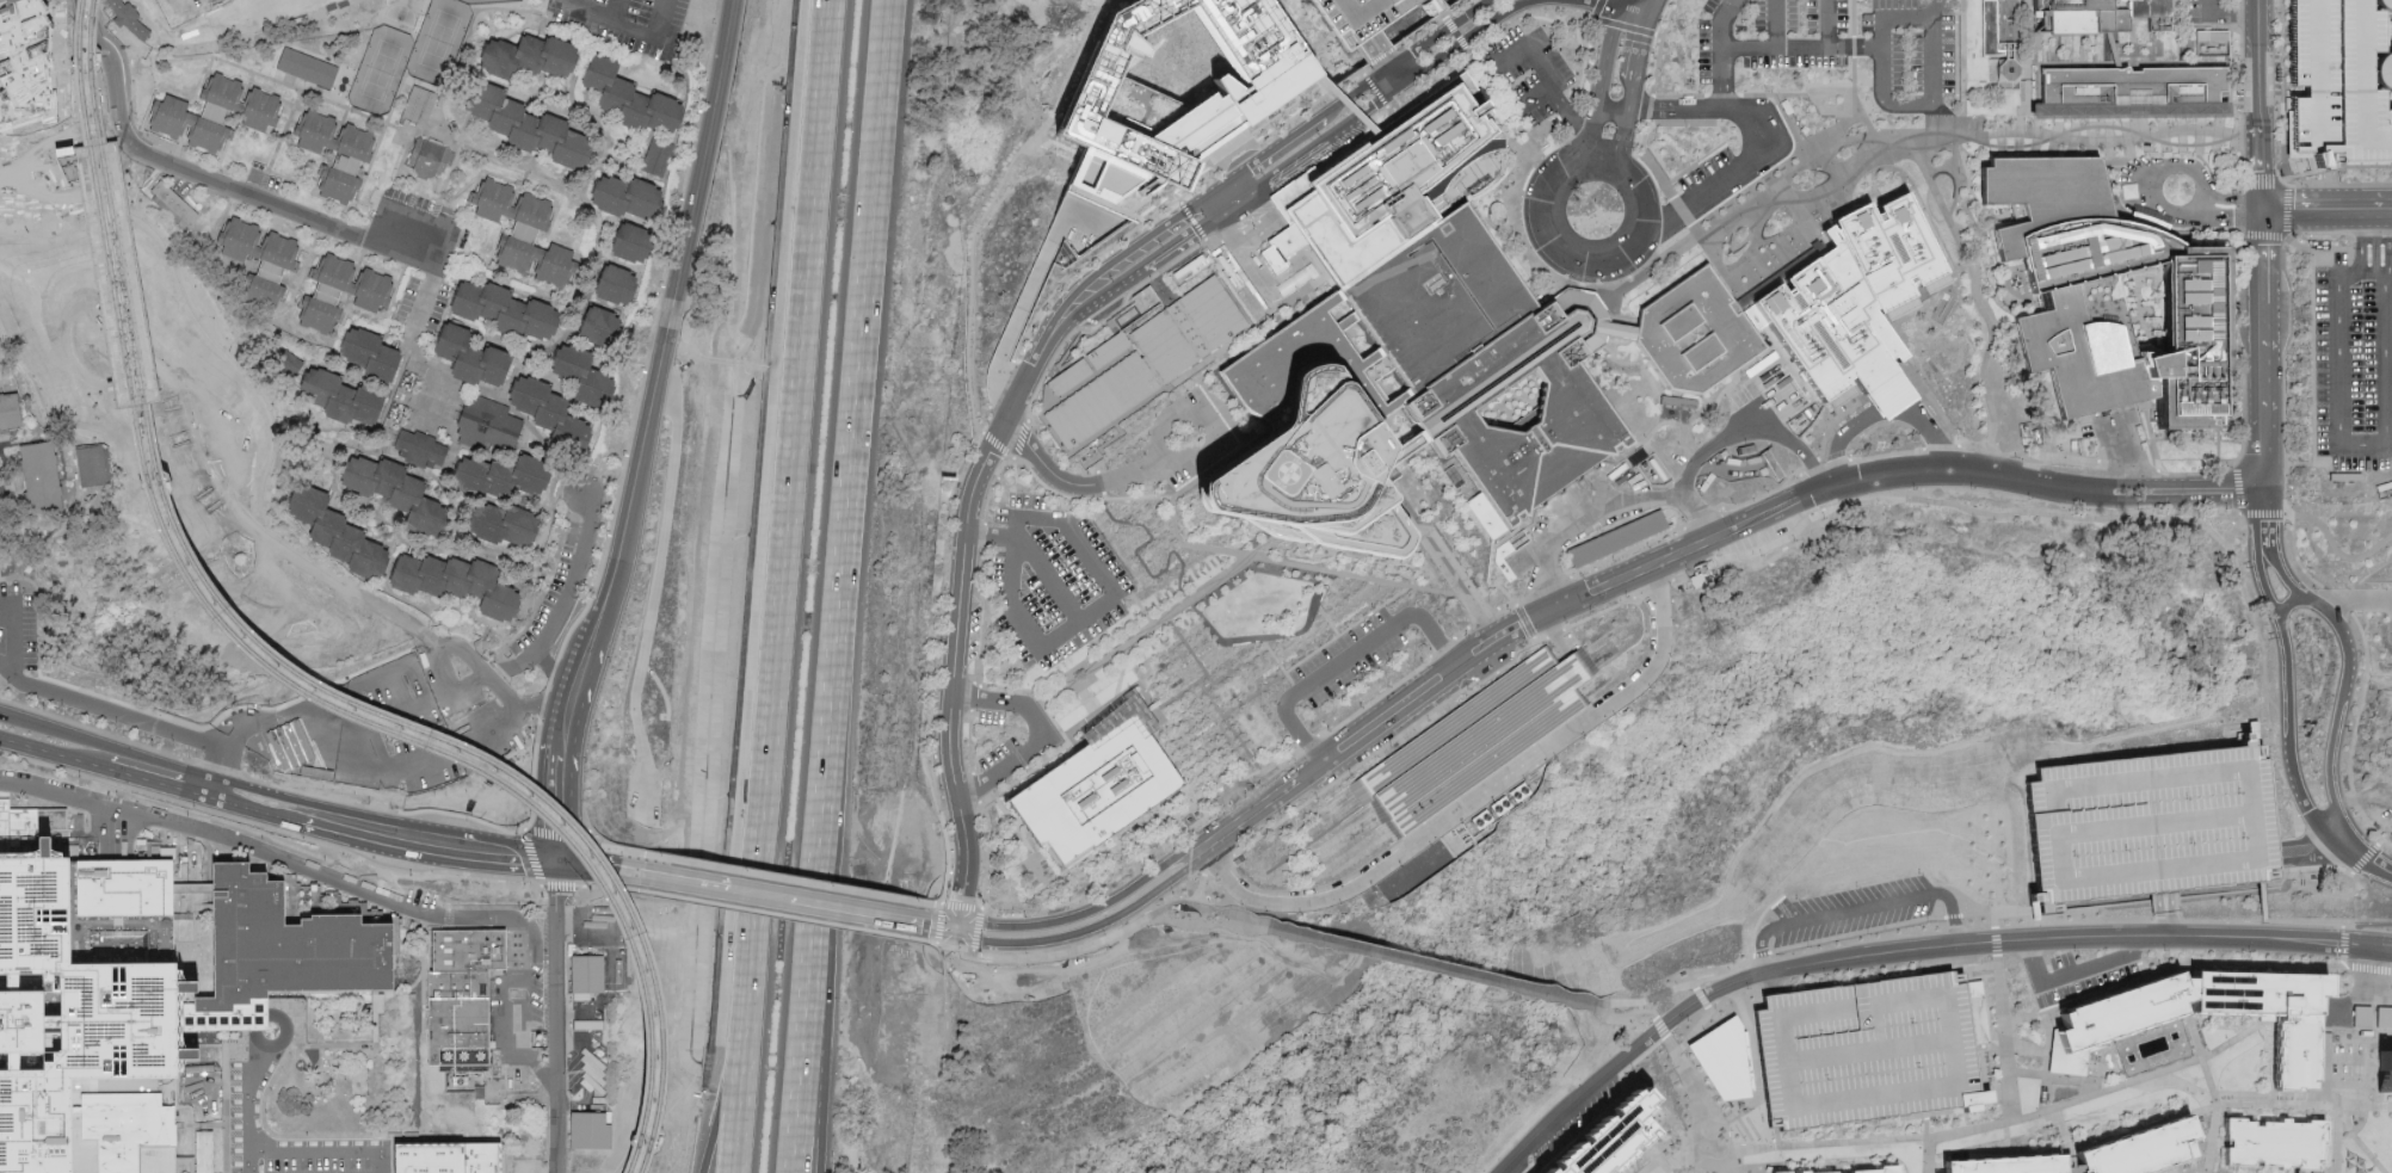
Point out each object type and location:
road: (1648, 1)
road: (1614, 8)
road: (1935, 8)
road: (1651, 10)
parking lot: (2208, 11)
road: (616, 12)
road: (2230, 12)
park: (245, 13)
road: (1443, 14)
building: (2095, 14)
building: (1361, 16)
parking lot: (1361, 16)
road: (1527, 17)
building: (129, 18)
road: (1291, 18)
parking lot: (627, 21)
road: (1721, 21)
road: (1775, 21)
road: (1827, 21)
road: (1620, 23)
road: (2026, 24)
road: (104, 26)
road: (628, 29)
road: (1456, 32)
road: (462, 38)
building: (2003, 38)
building: (2209, 41)
parking lot: (1835, 43)
road: (1770, 44)
building: (532, 51)
road: (1635, 53)
road: (2026, 53)
road: (156, 54)
road: (1363, 54)
road: (1411, 54)
road: (2258, 54)
park: (409, 55)
road: (1392, 55)
road: (1383, 62)
building: (24, 63)
road: (80, 64)
road: (240, 64)
building: (307, 66)
building: (82, 70)
road: (1357, 70)
parking lot: (1528, 70)
building: (184, 73)
road: (1601, 76)
road: (1548, 78)
road: (115, 81)
building: (2341, 84)
parking lot: (2341, 84)
building: (2135, 86)
road: (134, 88)
road: (302, 88)
road: (1382, 88)
road: (545, 89)
road: (1576, 89)
road: (1776, 92)
building: (631, 94)
road: (1539, 94)
road: (2027, 95)
road: (1931, 99)
road: (1346, 101)
building: (418, 103)
building: (1229, 103)
road: (1611, 104)
road: (1373, 105)
road: (1673, 106)
building: (215, 112)
road: (1960, 112)
road: (585, 113)
road: (1943, 117)
road: (140, 118)
road: (127, 121)
road: (127, 123)
road: (1646, 123)
building: (526, 124)
road: (1625, 124)
road: (1790, 125)
road: (2240, 132)
road: (57, 135)
road: (1907, 136)
road: (1286, 142)
road: (2282, 142)
road: (178, 143)
road: (1061, 143)
road: (66, 146)
road: (1259, 146)
road: (60, 147)
road: (26, 149)
road: (121, 152)
building: (656, 155)
building: (353, 156)
building: (66, 158)
road: (2258, 158)
building: (430, 159)
road: (616, 159)
road: (62, 161)
road: (69, 161)
building: (103, 161)
road: (505, 163)
road: (72, 165)
road: (119, 166)
road: (134, 166)
parking lot: (1704, 166)
building: (1457, 167)
road: (1521, 167)
road: (1738, 167)
road: (450, 174)
road: (68, 178)
road: (8, 179)
building: (1386, 180)
road: (510, 183)
road: (2145, 183)
road: (1820, 186)
road: (809, 191)
road: (251, 195)
building: (627, 196)
road: (993, 197)
road: (147, 198)
building: (172, 203)
road: (42, 204)
road: (2390, 204)
road: (2324, 205)
road: (2200, 206)
road: (2143, 221)
road: (144, 223)
road: (444, 224)
road: (1233, 224)
road: (1272, 227)
road: (321, 228)
parking lot: (413, 229)
building: (524, 230)
road: (1158, 231)
road: (2287, 231)
road: (1258, 236)
road: (1293, 237)
building: (1288, 240)
road: (2359, 240)
road: (2388, 240)
building: (627, 242)
road: (1284, 243)
road: (1566, 254)
road: (1154, 258)
building: (277, 265)
road: (503, 272)
road: (301, 280)
building: (612, 282)
road: (1271, 284)
building: (369, 292)
building: (2110, 296)
road: (1025, 297)
building: (1852, 297)
road: (1973, 300)
road: (417, 303)
building: (505, 309)
road: (82, 313)
road: (622, 314)
building: (593, 323)
road: (1621, 331)
building: (1694, 332)
road: (7, 337)
road: (212, 339)
road: (2262, 347)
building: (1108, 348)
building: (371, 351)
building: (471, 356)
building: (1151, 359)
building: (1488, 360)
parking lot: (2353, 364)
road: (660, 366)
road: (177, 373)
road: (105, 375)
building: (579, 375)
building: (1069, 376)
railway: (150, 385)
road: (124, 387)
railway: (123, 390)
road: (92, 401)
road: (504, 401)
building: (337, 402)
road: (1762, 402)
road: (1932, 403)
road: (184, 406)
road: (1881, 408)
building: (10, 409)
road: (47, 410)
building: (545, 410)
road: (1701, 413)
road: (2338, 418)
building: (483, 422)
road: (1827, 427)
building: (1318, 434)
road: (1647, 434)
road: (1018, 438)
road: (1721, 438)
road: (994, 443)
building: (418, 447)
building: (90, 465)
road: (1163, 465)
helipad: (1270, 470)
road: (1, 475)
building: (41, 476)
building: (503, 477)
road: (846, 477)
road: (2125, 482)
road: (337, 483)
road: (2220, 490)
building: (399, 494)
road: (950, 495)
road: (1166, 495)
road: (73, 496)
road: (2125, 499)
road: (1786, 501)
road: (1948, 501)
road: (2285, 510)
road: (2238, 512)
road: (2264, 514)
road: (1408, 517)
building: (1488, 521)
road: (1521, 521)
road: (1577, 521)
road: (560, 524)
road: (1524, 524)
building: (506, 526)
road: (1505, 532)
building: (340, 533)
road: (990, 533)
road: (1493, 537)
building: (1615, 537)
road: (1499, 538)
road: (406, 544)
road: (1083, 544)
road: (275, 548)
road: (418, 549)
road: (2335, 552)
road: (1139, 556)
road: (1299, 563)
road: (29, 578)
parking lot: (1052, 579)
building: (456, 582)
road: (1462, 585)
parking lot: (551, 586)
road: (1653, 586)
road: (1504, 589)
road: (2243, 592)
road: (654, 594)
road: (2347, 594)
road: (960, 595)
road: (1393, 595)
road: (537, 601)
road: (1138, 601)
road: (563, 604)
road: (2289, 606)
road: (1326, 616)
road: (1527, 621)
parking lot: (17, 625)
road: (1146, 628)
park: (1220, 630)
road: (1554, 632)
road: (11, 634)
road: (1054, 636)
road: (1268, 636)
road: (1092, 641)
road: (1188, 648)
road: (1253, 653)
parking lot: (1346, 655)
railway: (285, 658)
road: (1345, 658)
road: (1426, 658)
railway: (271, 660)
road: (2, 661)
road: (771, 662)
road: (1576, 662)
road: (1278, 663)
road: (499, 666)
road: (1074, 668)
road: (2347, 672)
road: (1222, 673)
road: (550, 675)
road: (123, 680)
road: (1118, 681)
road: (1263, 686)
road: (2286, 692)
road: (1172, 697)
road: (1240, 702)
road: (505, 704)
road: (1092, 705)
road: (302, 709)
road: (1229, 709)
road: (2264, 710)
road: (4, 711)
road: (1429, 712)
parking lot: (991, 715)
road: (130, 716)
road: (1155, 716)
road: (216, 720)
road: (1229, 726)
road: (1179, 731)
road: (1040, 733)
road: (1361, 734)
road: (1064, 735)
road: (560, 736)
building: (1472, 736)
road: (111, 745)
road: (1204, 747)
road: (316, 749)
parking lot: (999, 752)
road: (50, 753)
road: (153, 783)
building: (1092, 788)
parking lot: (645, 797)
road: (1474, 797)
road: (246, 798)
road: (553, 801)
building: (2147, 823)
parking lot: (2147, 823)
road: (358, 825)
road: (269, 829)
road: (1112, 841)
road: (529, 842)
road: (612, 846)
road: (492, 848)
road: (2308, 852)
road: (2361, 857)
traffic signals: (551, 858)
road: (2366, 859)
road: (1217, 863)
road: (590, 864)
road: (2308, 871)
road: (773, 872)
road: (551, 881)
road: (345, 883)
road: (702, 883)
road: (604, 887)
road: (1195, 897)
road: (2260, 897)
road: (962, 903)
road: (1206, 907)
road: (841, 908)
road: (2166, 909)
road: (1086, 910)
road: (766, 913)
parking lot: (1850, 913)
road: (1860, 913)
road: (1998, 913)
road: (1953, 916)
road: (2302, 919)
road: (1992, 921)
road: (2369, 921)
road: (932, 922)
road: (1206, 922)
road: (1090, 926)
traffic signals: (954, 927)
road: (2169, 932)
road: (1857, 936)
road: (2206, 938)
road: (939, 942)
road: (1993, 942)
road: (2347, 942)
road: (1989, 943)
building: (278, 951)
road: (1047, 953)
road: (1750, 955)
road: (1764, 963)
road: (2368, 963)
road: (1441, 964)
road: (1751, 965)
road: (1438, 970)
road: (2186, 971)
building: (587, 973)
parking lot: (2079, 973)
road: (2144, 975)
road: (1799, 977)
road: (2074, 980)
parking lot: (518, 982)
road: (1695, 988)
road: (1683, 990)
road: (2186, 993)
road: (1659, 998)
road: (1701, 999)
building: (375, 1001)
road: (1697, 1002)
road: (1632, 1004)
building: (463, 1005)
road: (2024, 1013)
road: (2336, 1014)
building: (2361, 1014)
building: (2384, 1014)
building: (86, 1017)
road: (1634, 1017)
building: (2106, 1027)
road: (1659, 1029)
road: (2003, 1036)
road: (556, 1038)
road: (2361, 1038)
road: (1746, 1041)
road: (2027, 1045)
building: (1868, 1050)
parking lot: (1868, 1050)
road: (2176, 1050)
parking lot: (2350, 1055)
road: (726, 1057)
road: (738, 1057)
road: (796, 1064)
road: (809, 1064)
building: (2385, 1066)
building: (1722, 1069)
road: (2024, 1070)
road: (2158, 1070)
road: (1702, 1073)
road: (2115, 1073)
road: (2143, 1074)
road: (2328, 1080)
road: (2360, 1080)
road: (2183, 1082)
road: (2212, 1087)
road: (1694, 1088)
fountain: (2054, 1089)
road: (1736, 1112)
road: (2180, 1112)
parking lot: (245, 1113)
road: (1924, 1113)
road: (1737, 1116)
parking lot: (1580, 1123)
road: (1924, 1124)
road: (2059, 1128)
building: (591, 1130)
road: (1869, 1137)
road: (2329, 1137)
road: (2363, 1140)
building: (1626, 1143)
building: (2275, 1143)
building: (201, 1150)
road: (1926, 1154)
building: (2103, 1155)
road: (550, 1157)
building: (446, 1159)
road: (2069, 1159)
road: (503, 1160)
road: (2182, 1163)
road: (507, 1165)
building: (1880, 1169)
road: (2070, 1171)
building: (1782, 1172)
building: (1801, 1172)
road: (2160, 1172)

